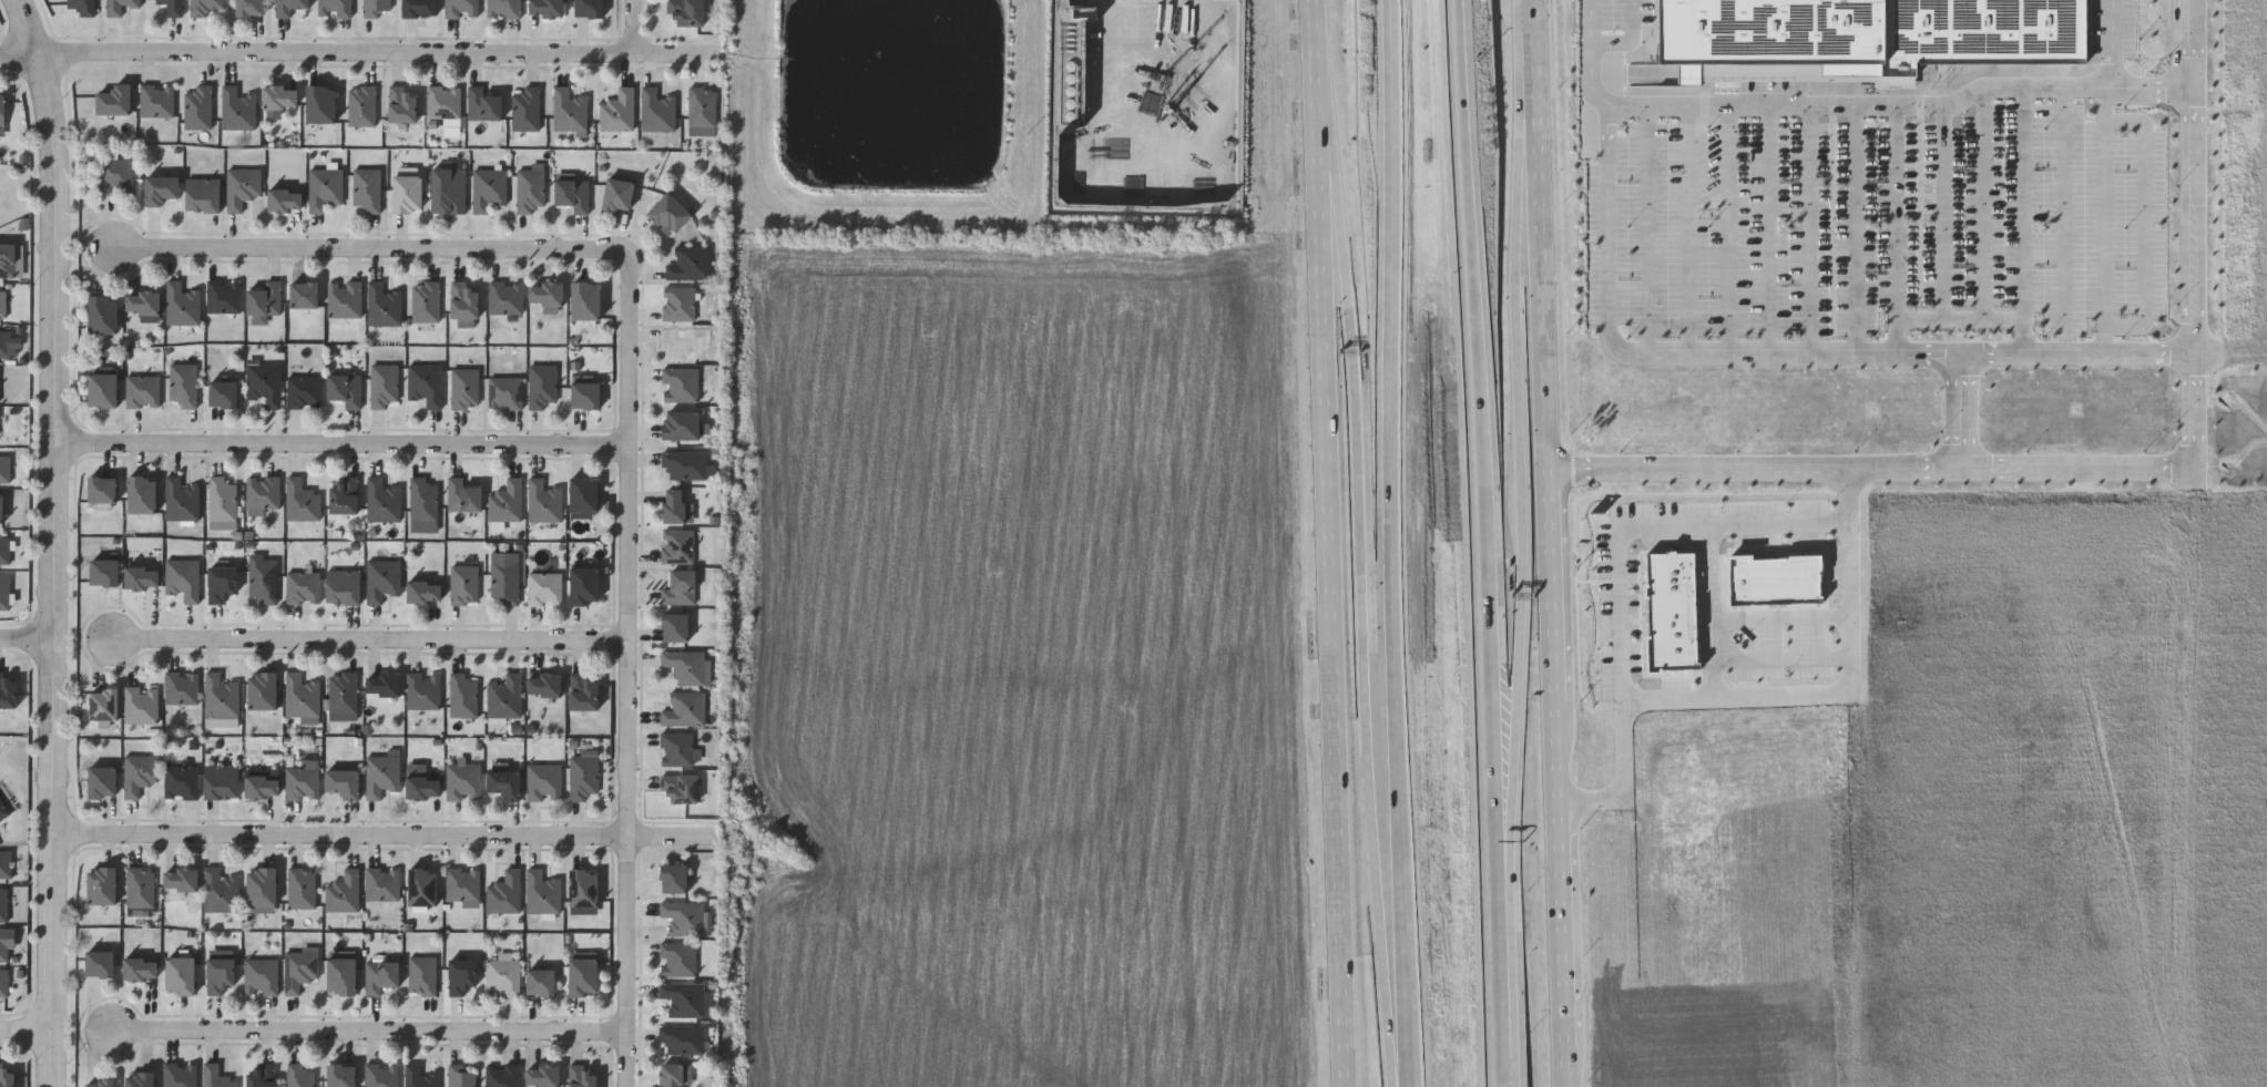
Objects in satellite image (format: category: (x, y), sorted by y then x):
building: (118, 6)
building: (81, 7)
building: (172, 7)
building: (208, 7)
building: (290, 7)
building: (252, 8)
building: (334, 8)
building: (376, 8)
building: (420, 8)
building: (461, 8)
building: (503, 8)
building: (548, 8)
building: (590, 8)
building: (686, 11)
road: (632, 25)
building: (1859, 34)
road: (1631, 38)
road: (353, 53)
road: (2118, 82)
building: (282, 98)
building: (115, 101)
building: (157, 101)
building: (443, 102)
building: (323, 104)
building: (402, 105)
building: (483, 105)
building: (361, 106)
building: (198, 107)
building: (702, 107)
road: (1868, 107)
building: (238, 110)
building: (525, 110)
building: (569, 111)
building: (617, 111)
building: (656, 111)
building: (2, 115)
building: (115, 177)
building: (242, 186)
building: (324, 187)
building: (366, 188)
building: (487, 188)
building: (161, 189)
building: (448, 191)
building: (530, 191)
building: (408, 194)
building: (203, 195)
building: (573, 195)
building: (620, 195)
building: (285, 199)
road: (1984, 203)
road: (1944, 213)
building: (671, 214)
road: (2024, 221)
road: (2065, 221)
road: (2104, 221)
road: (2144, 222)
road: (1861, 230)
road: (1896, 230)
road: (1648, 232)
road: (1687, 232)
road: (1729, 232)
road: (1769, 232)
road: (1808, 232)
road: (366, 249)
building: (9, 260)
building: (688, 264)
road: (1469, 285)
building: (305, 295)
building: (547, 295)
building: (224, 296)
building: (506, 297)
building: (265, 299)
building: (345, 299)
building: (464, 300)
building: (426, 301)
building: (588, 301)
building: (144, 302)
building: (677, 302)
building: (2, 304)
building: (182, 305)
building: (382, 305)
building: (104, 315)
road: (1960, 318)
building: (705, 337)
road: (1614, 341)
building: (10, 343)
building: (683, 343)
road: (2080, 353)
building: (224, 362)
building: (263, 382)
building: (182, 383)
building: (425, 383)
building: (680, 383)
building: (384, 386)
building: (541, 386)
building: (463, 388)
building: (103, 389)
building: (345, 389)
building: (142, 391)
building: (303, 391)
building: (223, 392)
building: (504, 392)
building: (586, 394)
road: (1961, 412)
building: (682, 423)
road: (340, 443)
building: (684, 464)
building: (4, 468)
road: (2107, 468)
building: (103, 488)
building: (263, 492)
building: (142, 493)
building: (345, 495)
building: (463, 495)
building: (584, 495)
building: (221, 499)
building: (181, 500)
building: (300, 500)
building: (422, 500)
building: (382, 501)
building: (506, 501)
building: (542, 501)
road: (1391, 501)
road: (1523, 501)
building: (674, 504)
building: (1, 507)
road: (1647, 529)
road: (57, 541)
road: (1331, 543)
road: (1550, 543)
building: (676, 544)
building: (4, 548)
road: (1705, 565)
building: (104, 571)
building: (142, 576)
building: (183, 577)
building: (381, 578)
building: (1777, 578)
building: (263, 580)
building: (504, 580)
building: (222, 583)
building: (463, 584)
building: (585, 584)
building: (343, 585)
building: (680, 586)
road: (1716, 586)
building: (303, 587)
building: (543, 587)
building: (425, 591)
building: (4, 592)
road: (1362, 598)
building: (1673, 612)
road: (1747, 619)
building: (675, 627)
road: (28, 639)
road: (366, 642)
road: (1781, 657)
road: (1487, 658)
building: (684, 665)
road: (623, 669)
building: (384, 683)
building: (545, 684)
building: (181, 687)
building: (8, 689)
building: (263, 690)
building: (422, 690)
building: (584, 690)
building: (343, 691)
building: (221, 695)
building: (300, 695)
building: (461, 695)
building: (503, 696)
road: (1768, 697)
building: (104, 704)
building: (141, 705)
building: (684, 709)
building: (676, 748)
building: (139, 772)
building: (380, 773)
building: (582, 775)
building: (222, 780)
building: (102, 781)
building: (181, 781)
building: (344, 781)
building: (463, 781)
building: (543, 781)
building: (302, 782)
building: (504, 782)
building: (262, 785)
building: (423, 786)
building: (680, 787)
road: (384, 832)
road: (1495, 840)
building: (4, 863)
building: (181, 878)
building: (675, 878)
building: (381, 883)
building: (102, 884)
building: (462, 884)
building: (262, 885)
building: (422, 885)
building: (139, 886)
building: (584, 886)
building: (300, 888)
building: (218, 891)
building: (343, 892)
building: (503, 892)
building: (542, 892)
building: (3, 904)
building: (684, 916)
building: (6, 942)
building: (677, 958)
building: (100, 963)
building: (141, 968)
building: (298, 968)
building: (181, 974)
building: (221, 974)
building: (341, 975)
building: (380, 975)
building: (421, 975)
building: (461, 975)
building: (261, 976)
building: (502, 976)
building: (584, 976)
building: (541, 981)
building: (3, 982)
building: (683, 998)
road: (1501, 1011)
road: (362, 1025)
road: (25, 1030)
building: (682, 1039)
road: (1409, 1044)
building: (675, 1074)
building: (178, 1075)
building: (341, 1075)
building: (380, 1075)
building: (501, 1075)
building: (543, 1075)
building: (582, 1075)
building: (7, 1076)
building: (215, 1076)
building: (262, 1076)
building: (297, 1076)
building: (418, 1076)
building: (460, 1076)
building: (140, 1079)
building: (100, 1083)

